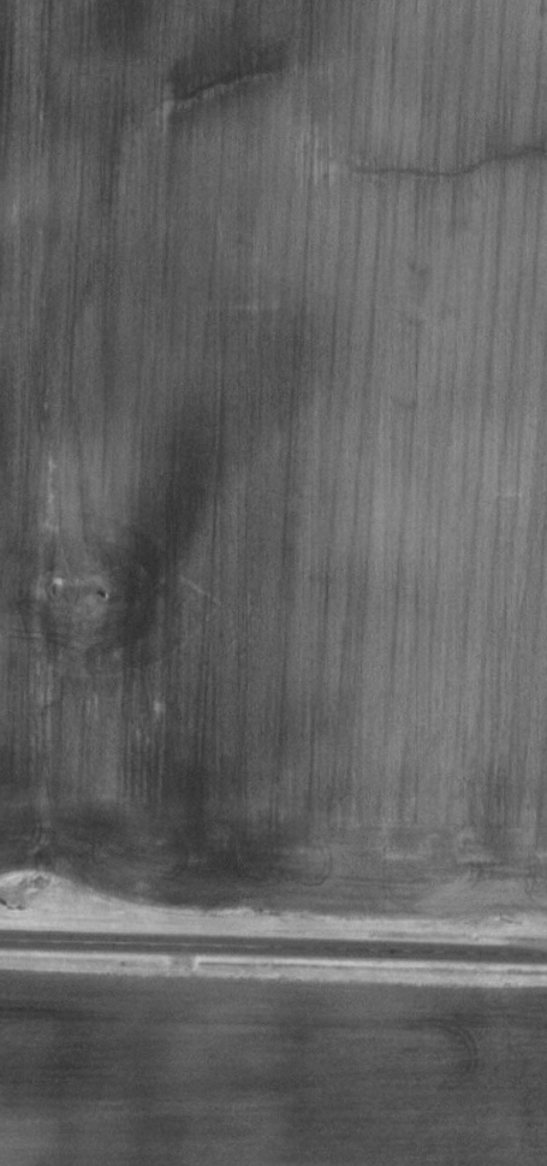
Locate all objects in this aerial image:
road: (273, 947)

